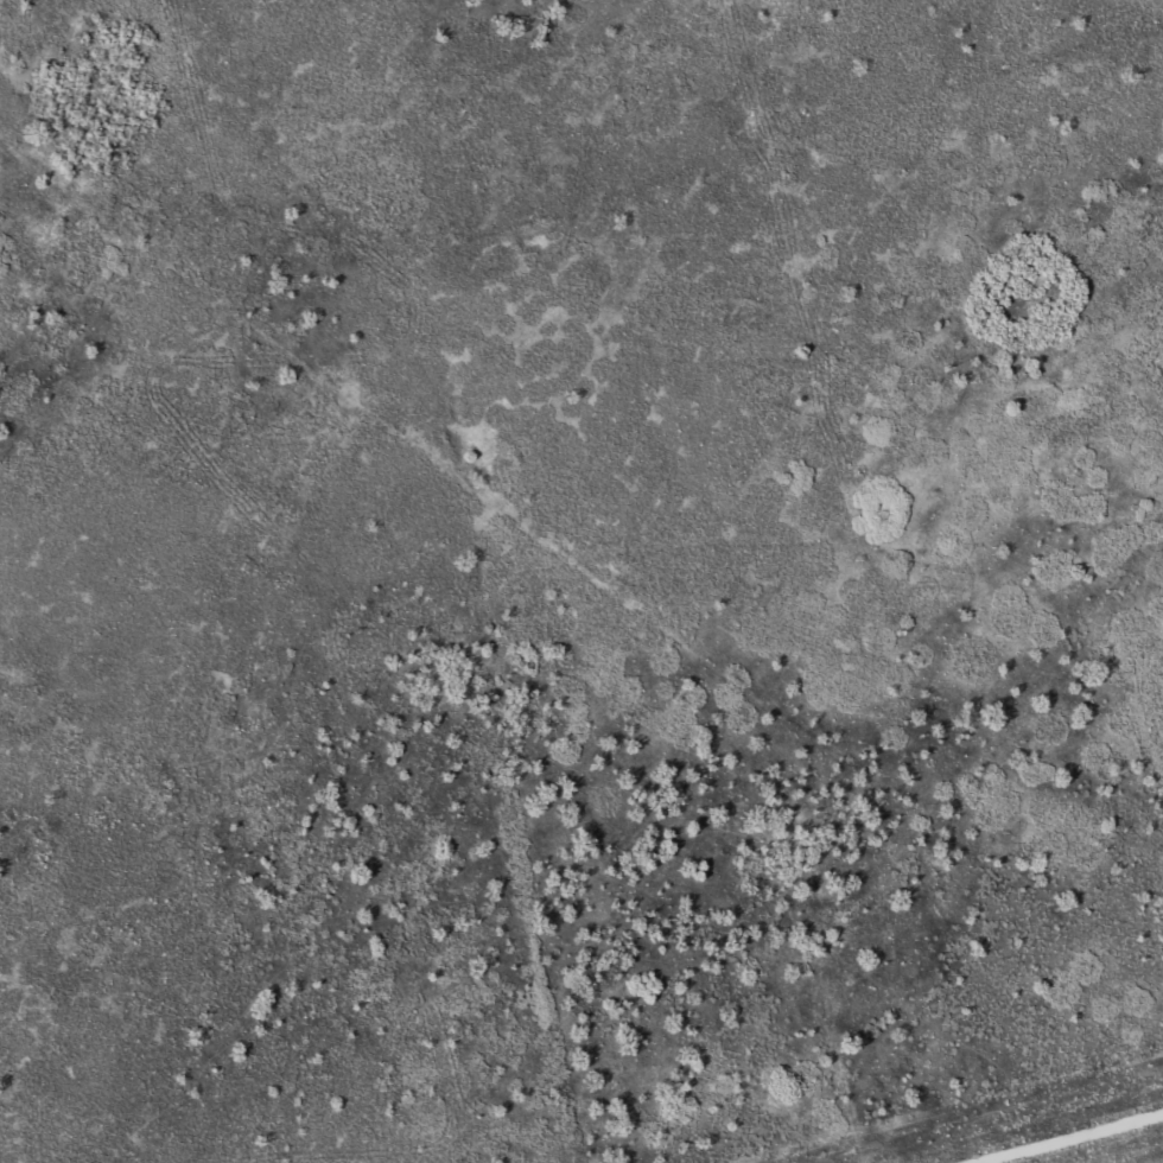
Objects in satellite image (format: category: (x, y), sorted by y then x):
road: (856, 1051)

